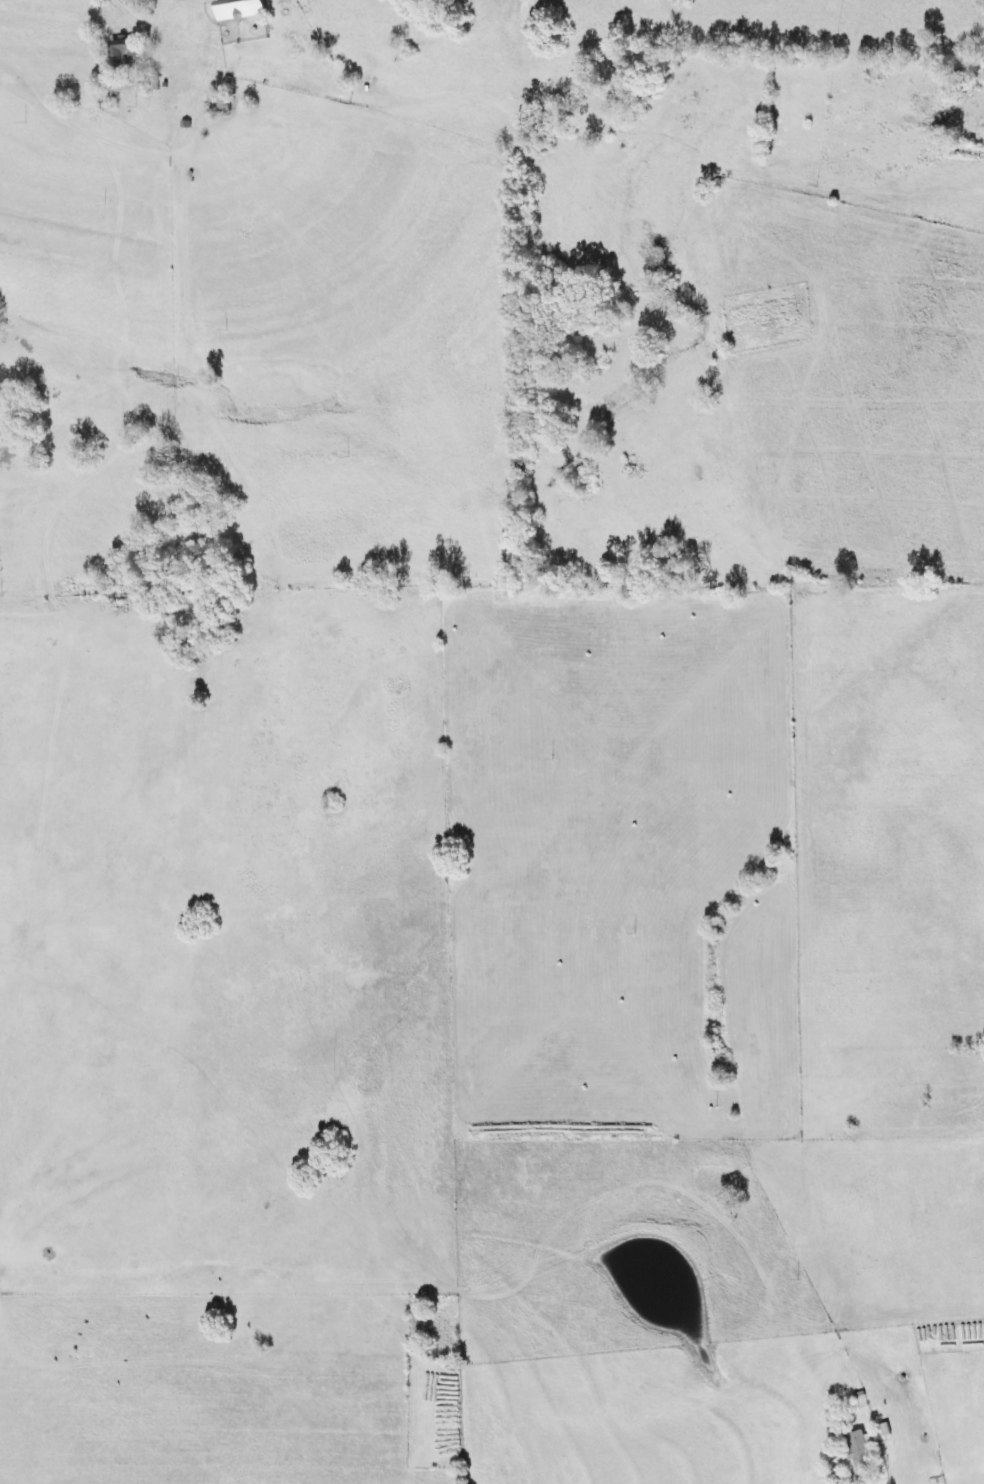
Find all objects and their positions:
building: (235, 8)
building: (122, 52)
road: (279, 67)
building: (856, 1449)

